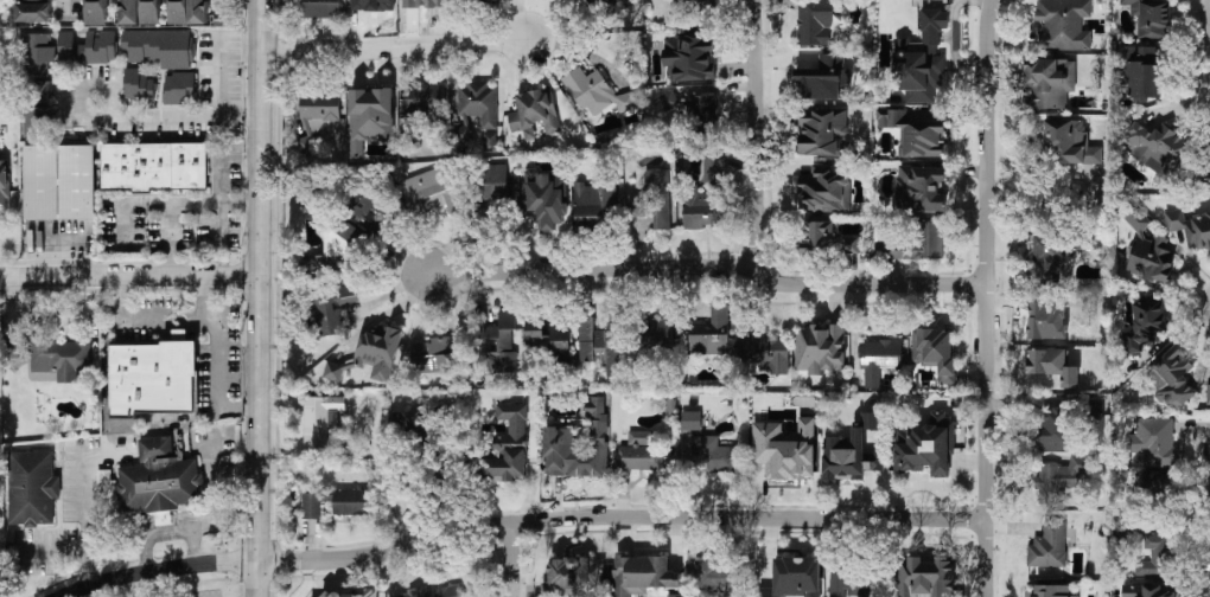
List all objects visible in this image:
building: (492, 0)
building: (372, 5)
building: (611, 5)
building: (319, 8)
building: (33, 11)
building: (189, 11)
building: (95, 12)
building: (140, 12)
building: (687, 13)
building: (815, 21)
building: (1063, 24)
building: (159, 46)
road: (394, 46)
building: (88, 47)
building: (688, 56)
building: (921, 58)
building: (1140, 71)
building: (822, 78)
road: (223, 82)
building: (1047, 82)
building: (38, 83)
building: (138, 84)
building: (179, 88)
building: (596, 91)
building: (668, 102)
building: (319, 104)
building: (475, 107)
building: (534, 113)
building: (702, 114)
building: (370, 116)
road: (144, 120)
building: (821, 131)
building: (913, 131)
road: (753, 133)
building: (1068, 142)
building: (1158, 147)
building: (1205, 162)
building: (154, 166)
building: (4, 181)
building: (58, 181)
building: (492, 182)
road: (1044, 187)
building: (921, 188)
building: (823, 190)
building: (432, 191)
building: (706, 195)
building: (544, 197)
building: (654, 199)
building: (362, 201)
road: (158, 206)
road: (222, 211)
building: (1190, 226)
building: (816, 237)
road: (168, 238)
building: (912, 242)
building: (852, 244)
building: (335, 246)
building: (1148, 249)
building: (1049, 257)
road: (706, 267)
road: (130, 271)
road: (261, 297)
road: (982, 297)
building: (331, 308)
road: (141, 312)
building: (1148, 319)
building: (711, 332)
building: (658, 334)
building: (547, 339)
building: (501, 344)
building: (600, 345)
building: (820, 347)
building: (935, 351)
building: (765, 352)
building: (52, 354)
building: (437, 355)
road: (219, 357)
building: (879, 359)
building: (1051, 365)
building: (1174, 375)
building: (151, 378)
building: (1208, 393)
building: (1096, 417)
building: (319, 419)
building: (690, 419)
building: (1053, 428)
building: (559, 438)
building: (1154, 441)
building: (507, 445)
building: (925, 445)
building: (785, 448)
building: (638, 452)
building: (713, 452)
building: (852, 452)
building: (1062, 471)
building: (151, 481)
building: (32, 487)
building: (335, 501)
road: (84, 507)
road: (522, 526)
building: (1047, 544)
building: (1154, 554)
road: (511, 561)
road: (60, 570)
building: (574, 574)
building: (641, 574)
building: (718, 574)
building: (924, 576)
building: (794, 577)
building: (851, 583)
road: (125, 586)
building: (1145, 590)
building: (434, 591)
building: (1049, 591)
building: (350, 592)

